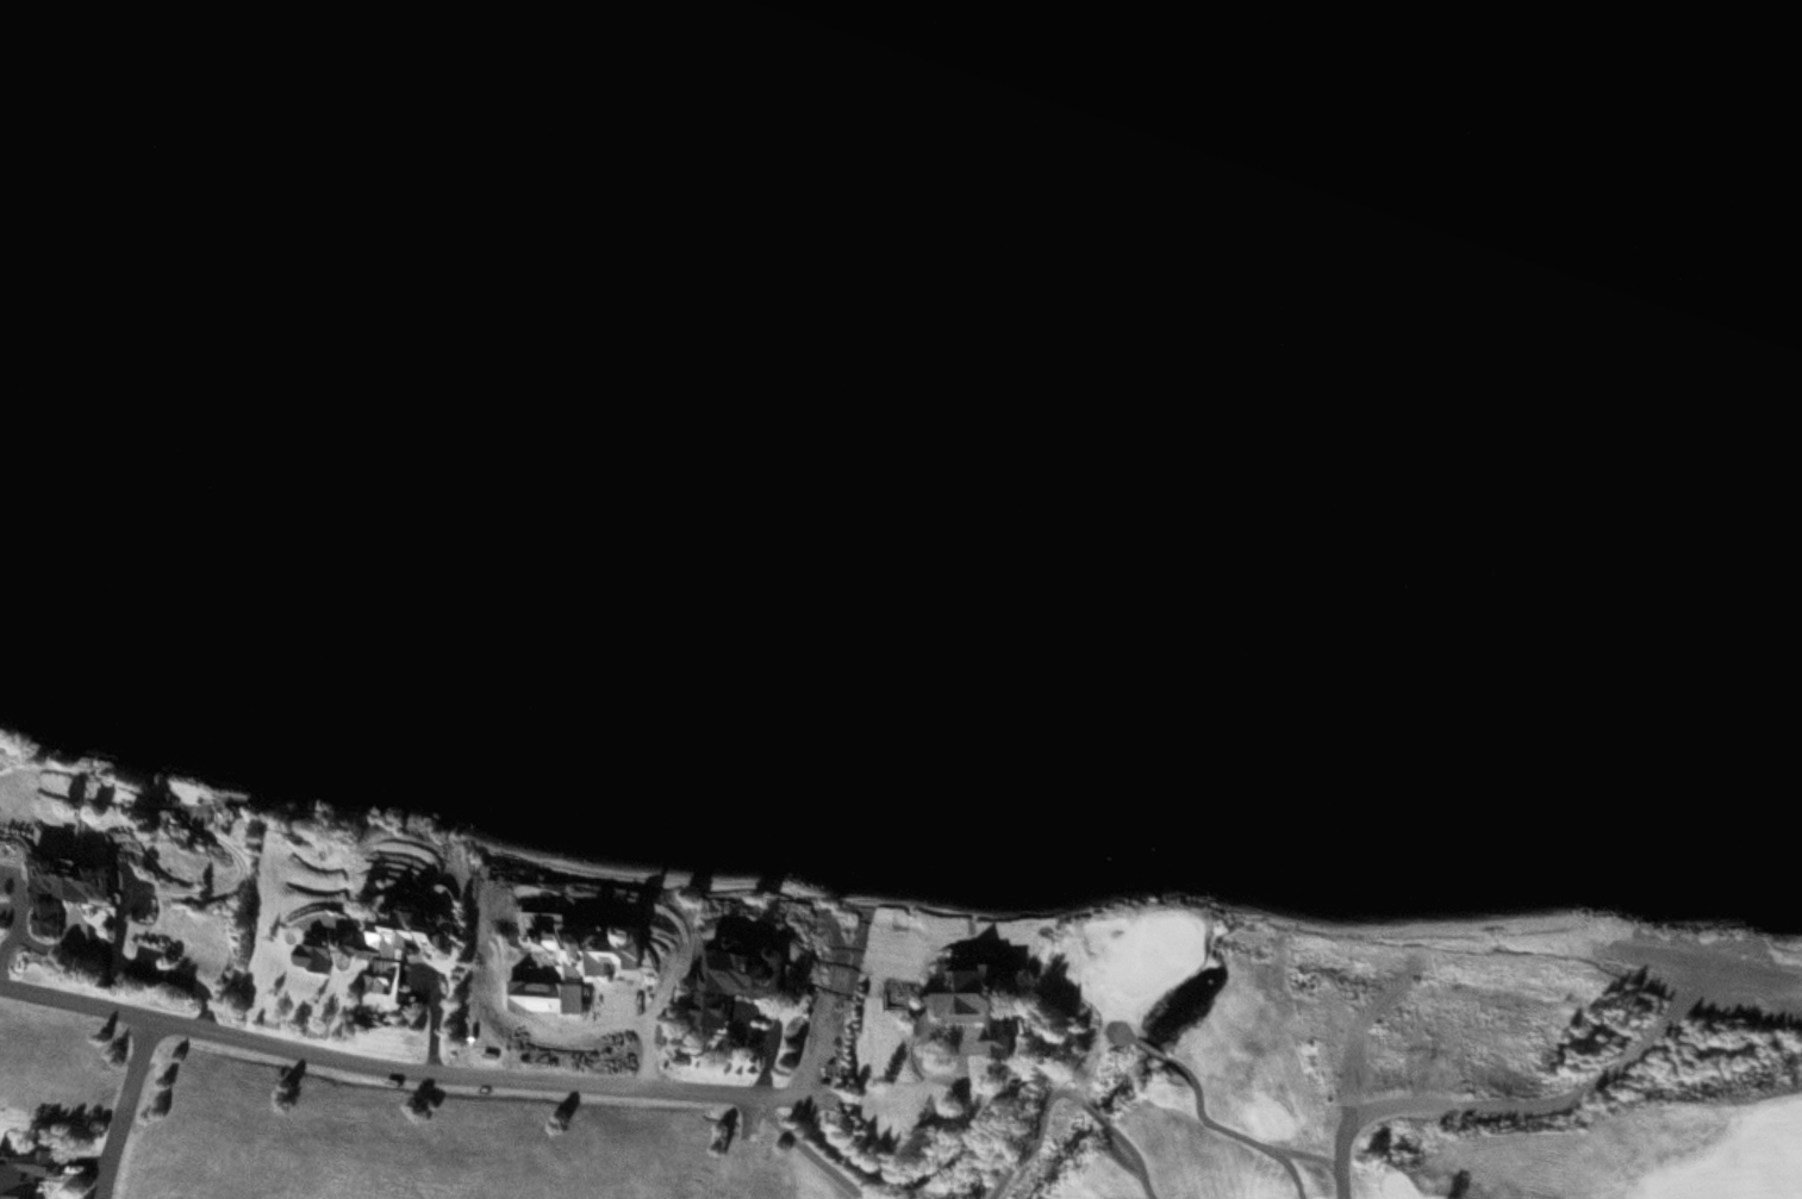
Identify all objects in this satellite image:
building: (74, 881)
building: (40, 918)
building: (397, 944)
park: (1156, 954)
building: (738, 979)
building: (985, 1004)
road: (1130, 1031)
road: (1154, 1043)
road: (1357, 1047)
road: (921, 1061)
road: (414, 1074)
park: (1361, 1078)
road: (1067, 1092)
road: (1503, 1104)
road: (111, 1109)
road: (748, 1117)
road: (1235, 1129)
road: (805, 1147)
road: (1310, 1150)
building: (29, 1172)
road: (917, 1172)

